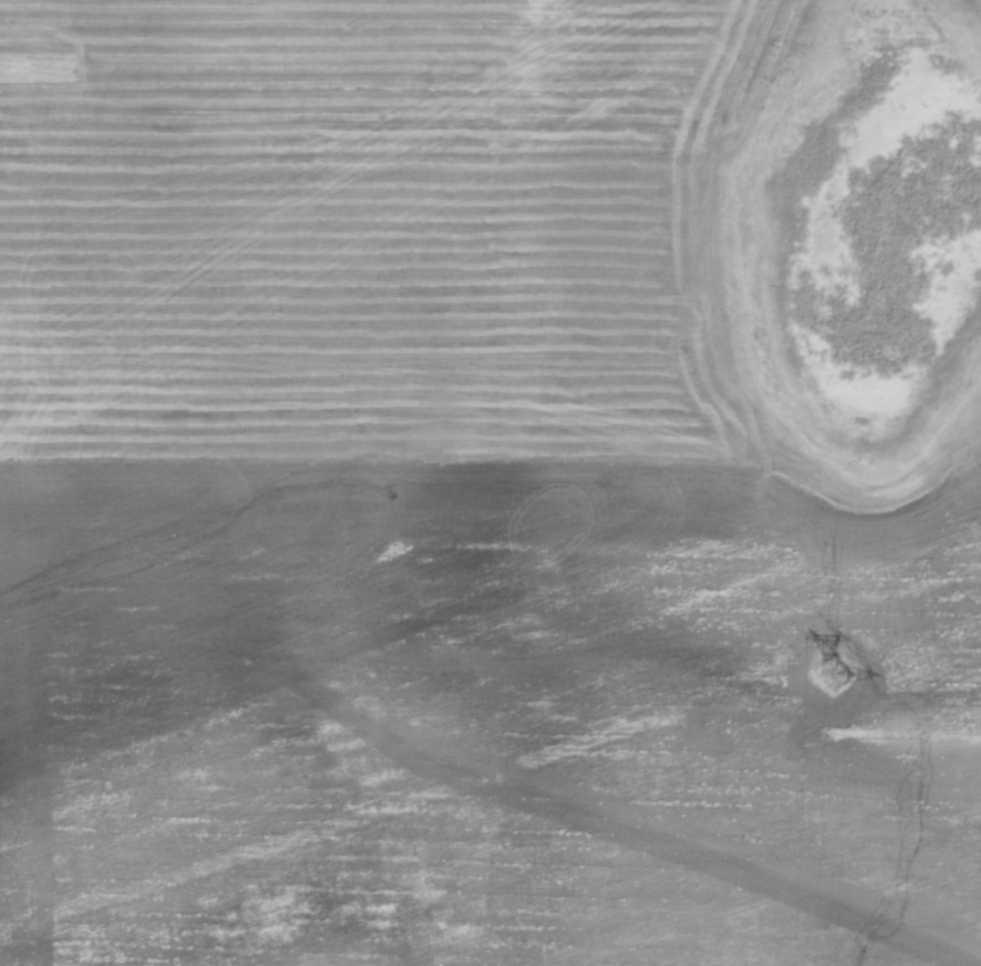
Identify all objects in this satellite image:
power tower: (833, 673)

